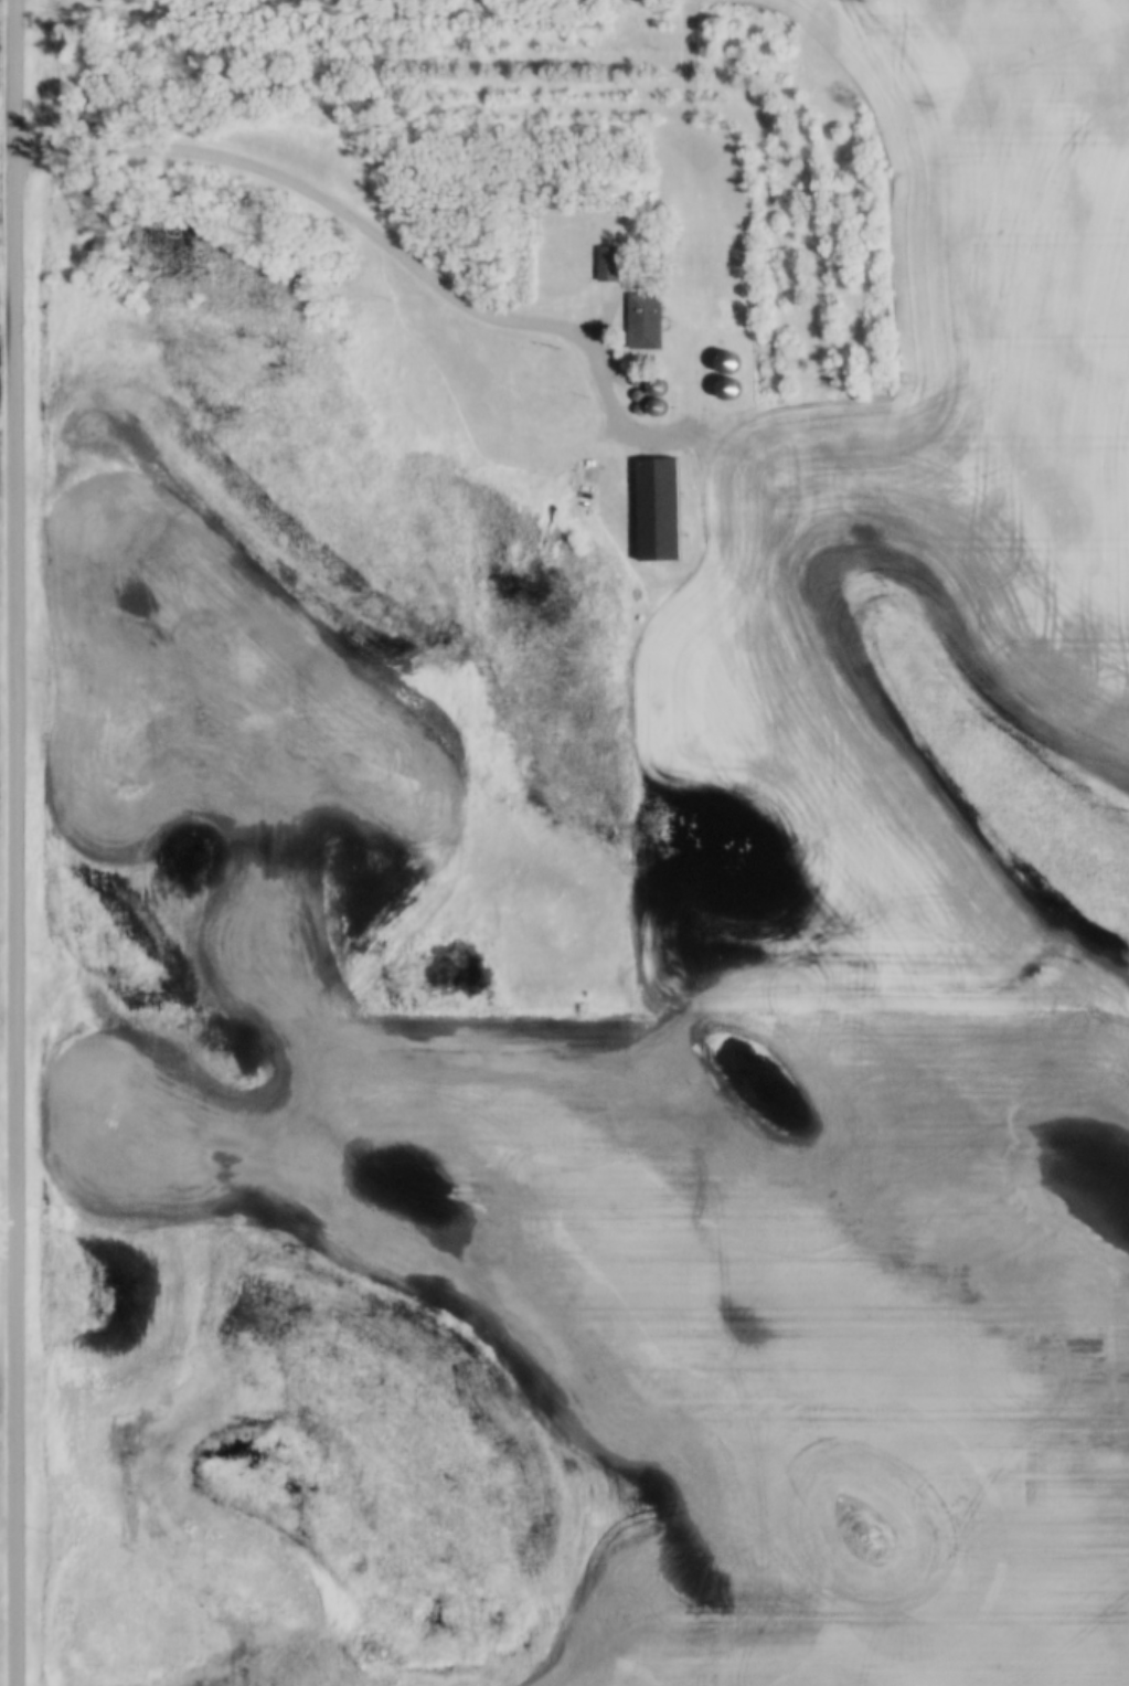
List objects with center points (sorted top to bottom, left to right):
road: (374, 237)
building: (608, 264)
building: (646, 322)
building: (729, 372)
building: (659, 509)
road: (12, 842)

